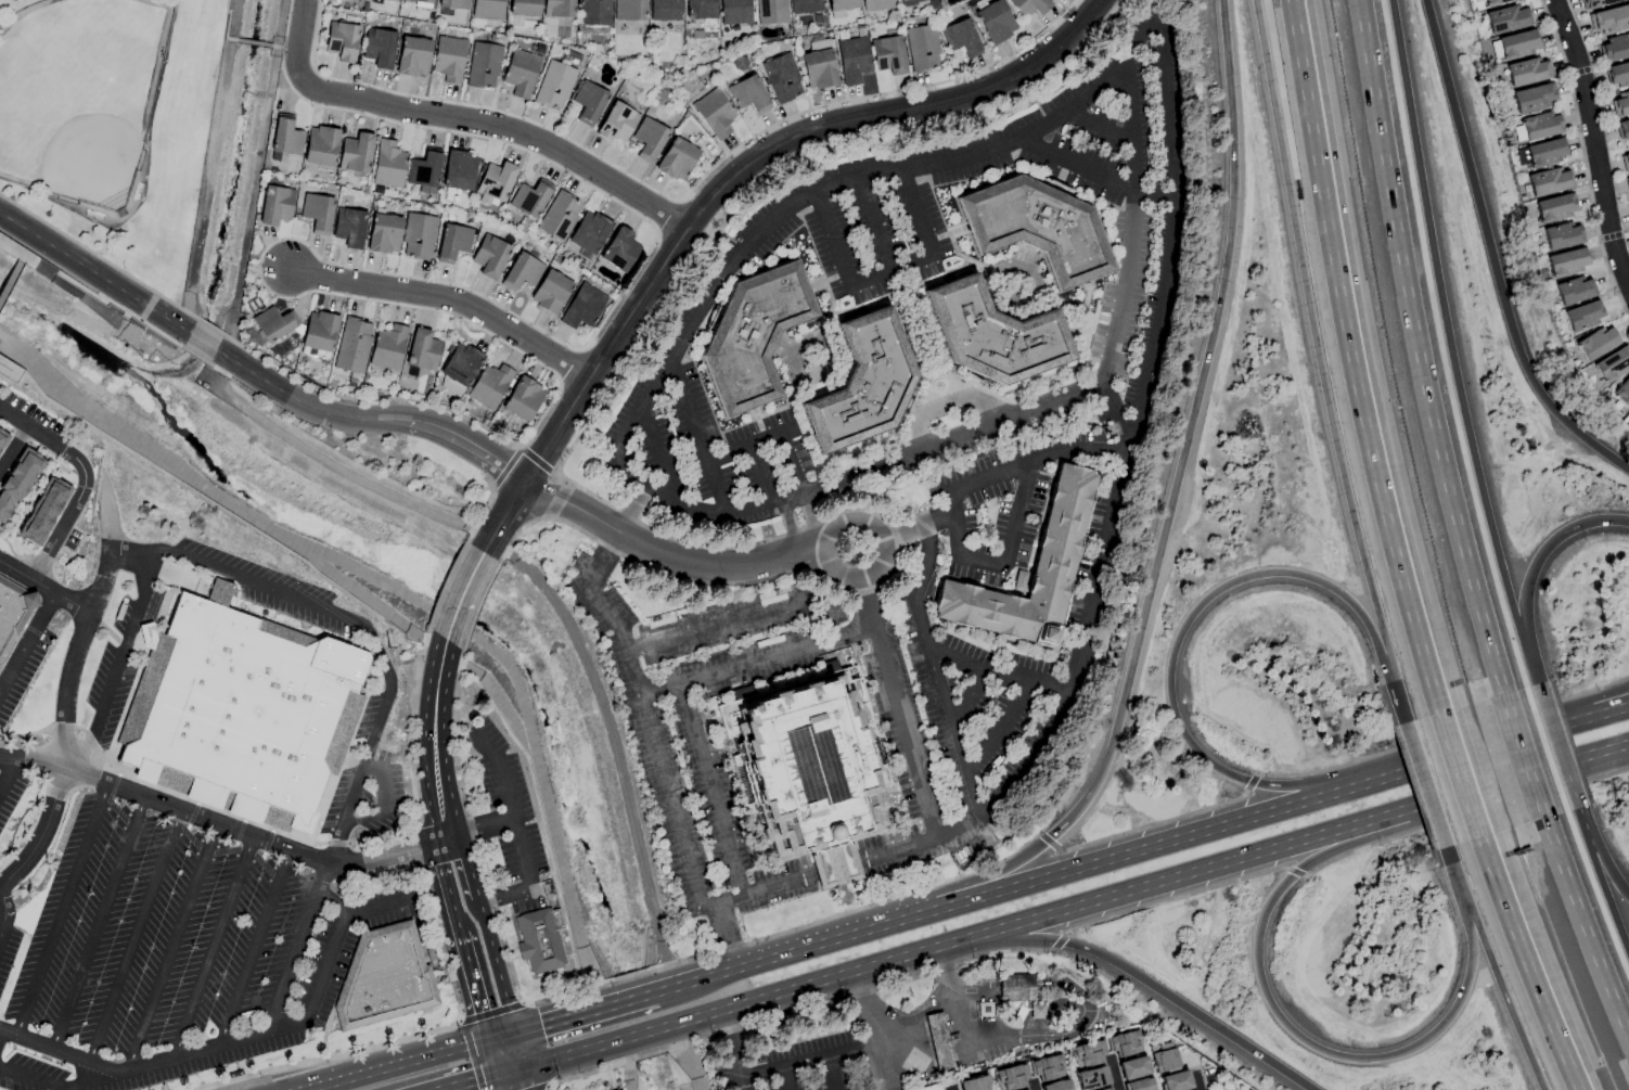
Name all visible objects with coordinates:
park: (14, 0)
building: (360, 0)
building: (420, 1)
building: (910, 1)
building: (1493, 1)
building: (1596, 3)
building: (453, 4)
building: (842, 4)
building: (875, 4)
building: (805, 5)
building: (1028, 7)
building: (524, 8)
building: (557, 8)
building: (486, 9)
building: (700, 9)
building: (628, 10)
building: (664, 10)
building: (771, 11)
building: (593, 12)
building: (734, 12)
building: (1506, 18)
building: (1609, 20)
building: (993, 21)
road: (227, 25)
building: (960, 38)
building: (341, 41)
road: (308, 42)
building: (1517, 43)
road: (255, 44)
building: (379, 48)
building: (921, 48)
building: (1615, 48)
road: (290, 50)
building: (887, 54)
building: (412, 56)
building: (448, 59)
building: (851, 60)
building: (483, 65)
building: (818, 68)
building: (1527, 70)
building: (520, 73)
building: (1617, 75)
building: (782, 78)
building: (553, 85)
park: (79, 94)
building: (748, 94)
building: (1532, 98)
building: (588, 102)
building: (1620, 104)
building: (714, 113)
building: (616, 121)
park: (115, 124)
building: (1541, 126)
road: (503, 127)
road: (1100, 127)
building: (1622, 130)
building: (285, 137)
building: (649, 139)
road: (1593, 142)
building: (320, 145)
building: (1545, 152)
building: (355, 153)
building: (676, 158)
road: (753, 159)
building: (1625, 162)
building: (388, 164)
road: (1078, 165)
building: (458, 170)
road: (897, 171)
building: (423, 172)
building: (1549, 181)
building: (495, 182)
building: (1627, 183)
building: (529, 198)
building: (275, 205)
building: (1555, 207)
building: (317, 213)
building: (559, 216)
road: (1133, 222)
road: (873, 225)
building: (348, 227)
building: (1039, 228)
building: (589, 231)
building: (384, 233)
building: (1563, 235)
building: (418, 236)
building: (452, 242)
building: (619, 249)
building: (489, 256)
road: (1491, 257)
road: (20, 259)
building: (1567, 261)
building: (521, 271)
road: (886, 272)
road: (94, 274)
road: (9, 279)
building: (1575, 290)
building: (550, 291)
road: (77, 295)
road: (448, 299)
building: (582, 306)
building: (1583, 316)
building: (273, 323)
building: (318, 334)
building: (995, 335)
building: (754, 336)
building: (1596, 343)
road: (1451, 344)
road: (203, 345)
building: (352, 345)
building: (387, 347)
road: (1420, 348)
building: (422, 350)
road: (1356, 358)
building: (461, 363)
road: (1320, 363)
building: (1613, 364)
building: (9, 370)
road: (15, 372)
building: (863, 385)
building: (450, 386)
building: (489, 386)
building: (1622, 393)
building: (523, 399)
road: (944, 405)
road: (373, 418)
road: (625, 427)
road: (786, 431)
road: (696, 435)
building: (2, 436)
road: (745, 448)
road: (14, 450)
road: (658, 452)
road: (1034, 460)
road: (794, 463)
road: (757, 476)
road: (81, 479)
building: (16, 482)
road: (576, 508)
building: (42, 511)
road: (1168, 513)
road: (1016, 515)
road: (505, 518)
road: (811, 522)
building: (1062, 525)
road: (915, 526)
road: (952, 526)
road: (793, 527)
road: (874, 530)
road: (980, 564)
road: (722, 566)
road: (1532, 569)
road: (46, 586)
road: (542, 588)
road: (460, 598)
building: (12, 617)
road: (739, 617)
road: (336, 618)
road: (27, 642)
power tower: (387, 642)
road: (1175, 643)
road: (757, 661)
road: (117, 665)
road: (931, 670)
road: (993, 674)
road: (967, 701)
road: (1600, 706)
road: (896, 708)
building: (235, 711)
road: (1600, 715)
road: (429, 731)
road: (1001, 733)
road: (1556, 746)
road: (1607, 751)
road: (1523, 756)
road: (1607, 756)
road: (31, 762)
building: (803, 772)
road: (7, 773)
road: (1459, 774)
road: (1425, 784)
parking lot: (18, 791)
road: (709, 791)
road: (384, 803)
road: (510, 822)
parking lot: (512, 825)
building: (552, 831)
road: (477, 832)
road: (44, 834)
road: (252, 835)
road: (1144, 847)
road: (1264, 851)
road: (1601, 855)
road: (1602, 879)
flagpole: (721, 890)
road: (764, 890)
flagpole: (714, 892)
fountain: (846, 897)
road: (331, 900)
road: (62, 907)
road: (373, 908)
road: (4, 911)
road: (98, 921)
road: (480, 924)
road: (1585, 927)
road: (457, 931)
road: (133, 934)
road: (728, 937)
building: (538, 942)
road: (170, 947)
road: (255, 947)
road: (211, 948)
road: (1529, 964)
road: (324, 966)
road: (1495, 967)
road: (1137, 978)
building: (384, 980)
road: (687, 983)
road: (801, 986)
road: (1066, 986)
building: (1015, 987)
road: (633, 998)
road: (960, 1015)
road: (916, 1017)
road: (563, 1018)
road: (286, 1024)
road: (870, 1030)
road: (642, 1031)
traffic signals: (514, 1033)
road: (2, 1035)
road: (324, 1035)
road: (500, 1037)
road: (399, 1040)
building: (938, 1041)
gas station: (938, 1041)
building: (1125, 1043)
road: (1305, 1044)
road: (62, 1050)
road: (730, 1050)
road: (196, 1051)
road: (512, 1051)
road: (565, 1053)
building: (1088, 1053)
road: (498, 1055)
building: (1163, 1057)
road: (805, 1061)
road: (395, 1065)
road: (1151, 1065)
building: (1048, 1067)
building: (1132, 1067)
traffic signals: (510, 1069)
road: (830, 1073)
road: (1113, 1074)
road: (1072, 1075)
building: (1011, 1077)
road: (783, 1078)
building: (1091, 1078)
road: (63, 1079)
road: (473, 1079)
road: (512, 1079)
road: (1228, 1080)
building: (1175, 1081)
road: (1198, 1082)
park: (1229, 1082)
building: (974, 1083)
building: (1140, 1085)
road: (957, 1086)
building: (1055, 1086)
road: (993, 1087)
road: (1032, 1087)
road: (950, 1089)
building: (1105, 1089)

